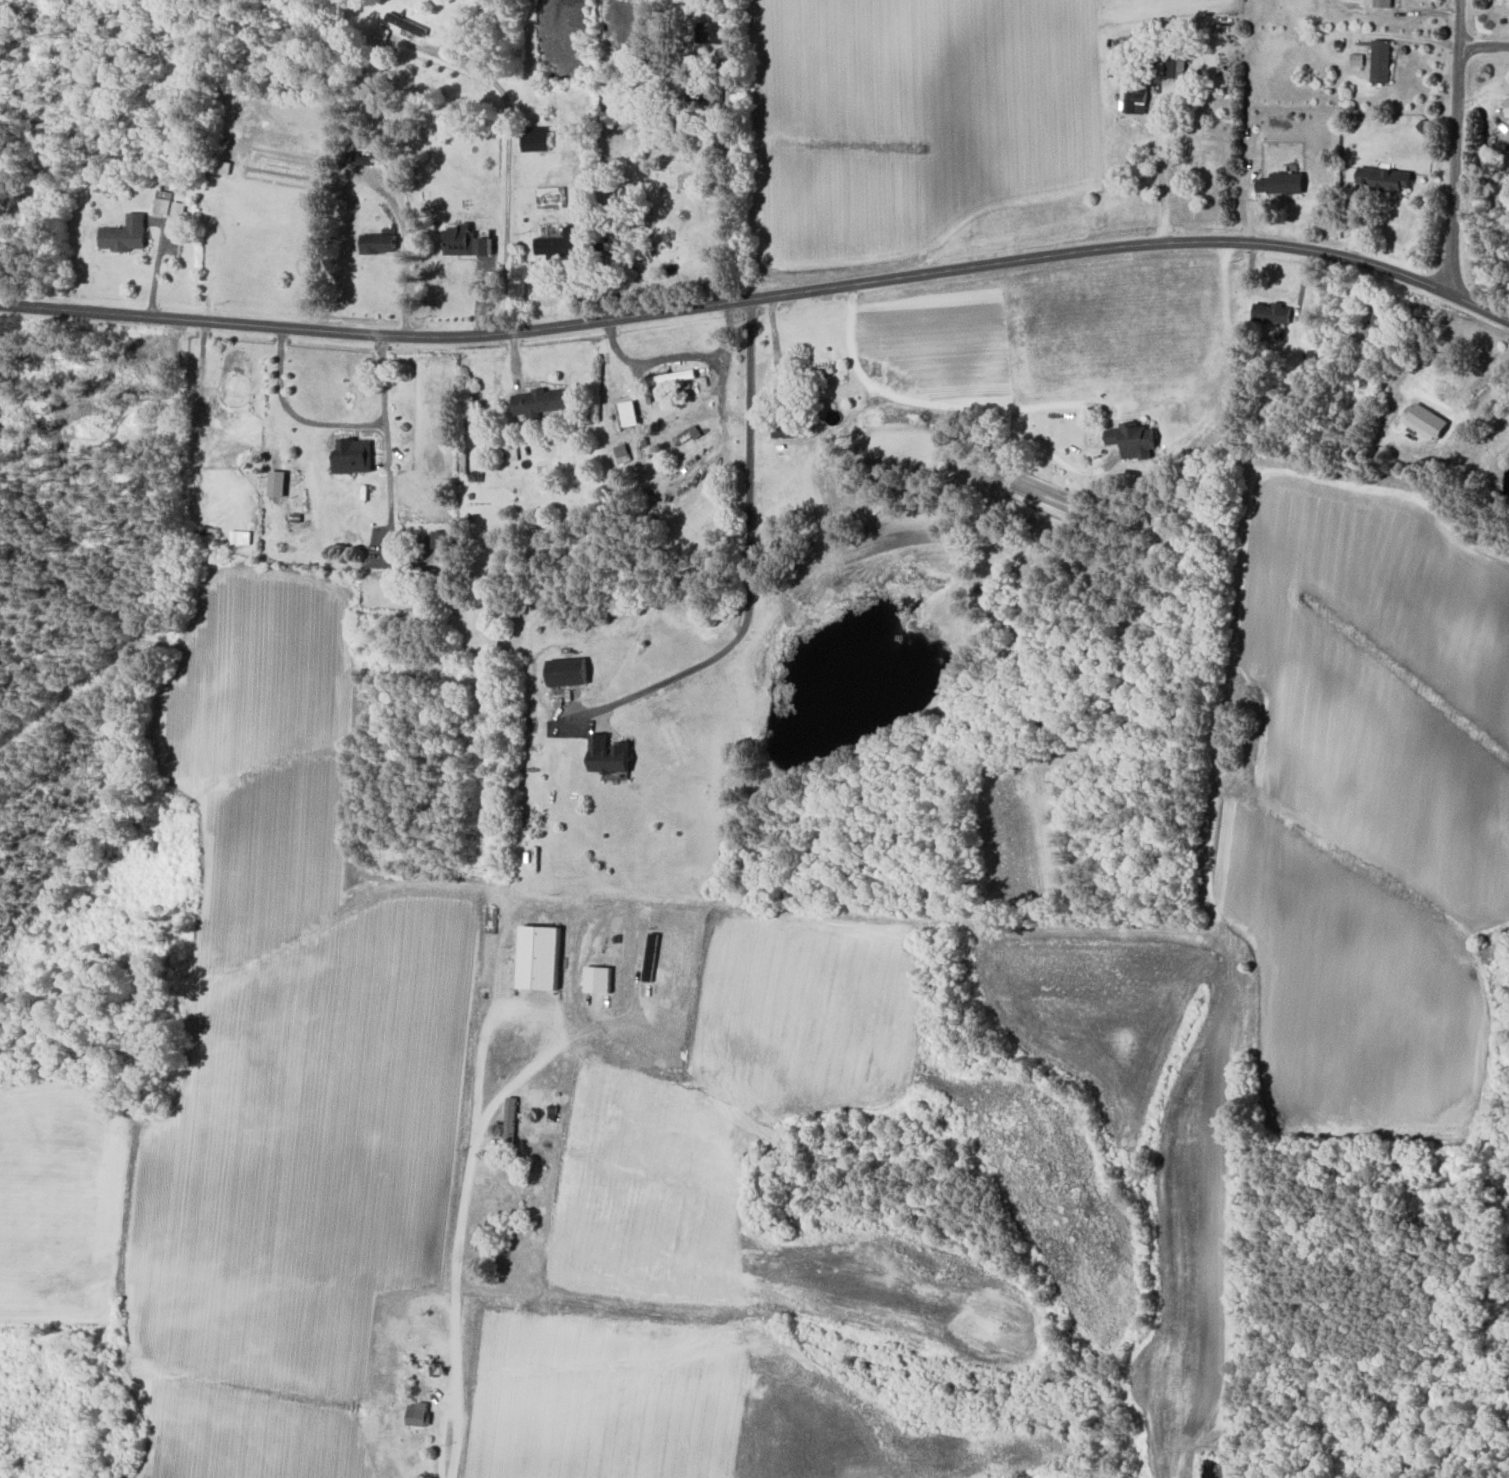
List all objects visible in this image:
building: (1383, 3)
building: (711, 32)
road: (1483, 45)
building: (1381, 60)
building: (1175, 65)
building: (1136, 98)
building: (1507, 106)
building: (535, 138)
road: (1454, 144)
road: (732, 150)
road: (507, 152)
building: (360, 161)
road: (1162, 164)
building: (222, 167)
building: (1385, 179)
building: (1282, 182)
building: (162, 201)
building: (124, 233)
building: (459, 239)
building: (559, 241)
building: (378, 243)
building: (483, 245)
road: (158, 265)
road: (406, 278)
road: (760, 296)
building: (1272, 312)
road: (678, 356)
road: (1476, 374)
road: (383, 378)
road: (936, 401)
building: (538, 402)
building: (628, 413)
building: (1425, 421)
road: (349, 423)
building: (782, 429)
building: (1133, 439)
building: (511, 452)
building: (353, 455)
building: (239, 537)
building: (440, 539)
road: (748, 562)
building: (567, 671)
building: (608, 754)
building: (539, 958)
building: (598, 979)
building: (510, 1121)
road: (466, 1199)
building: (417, 1413)

